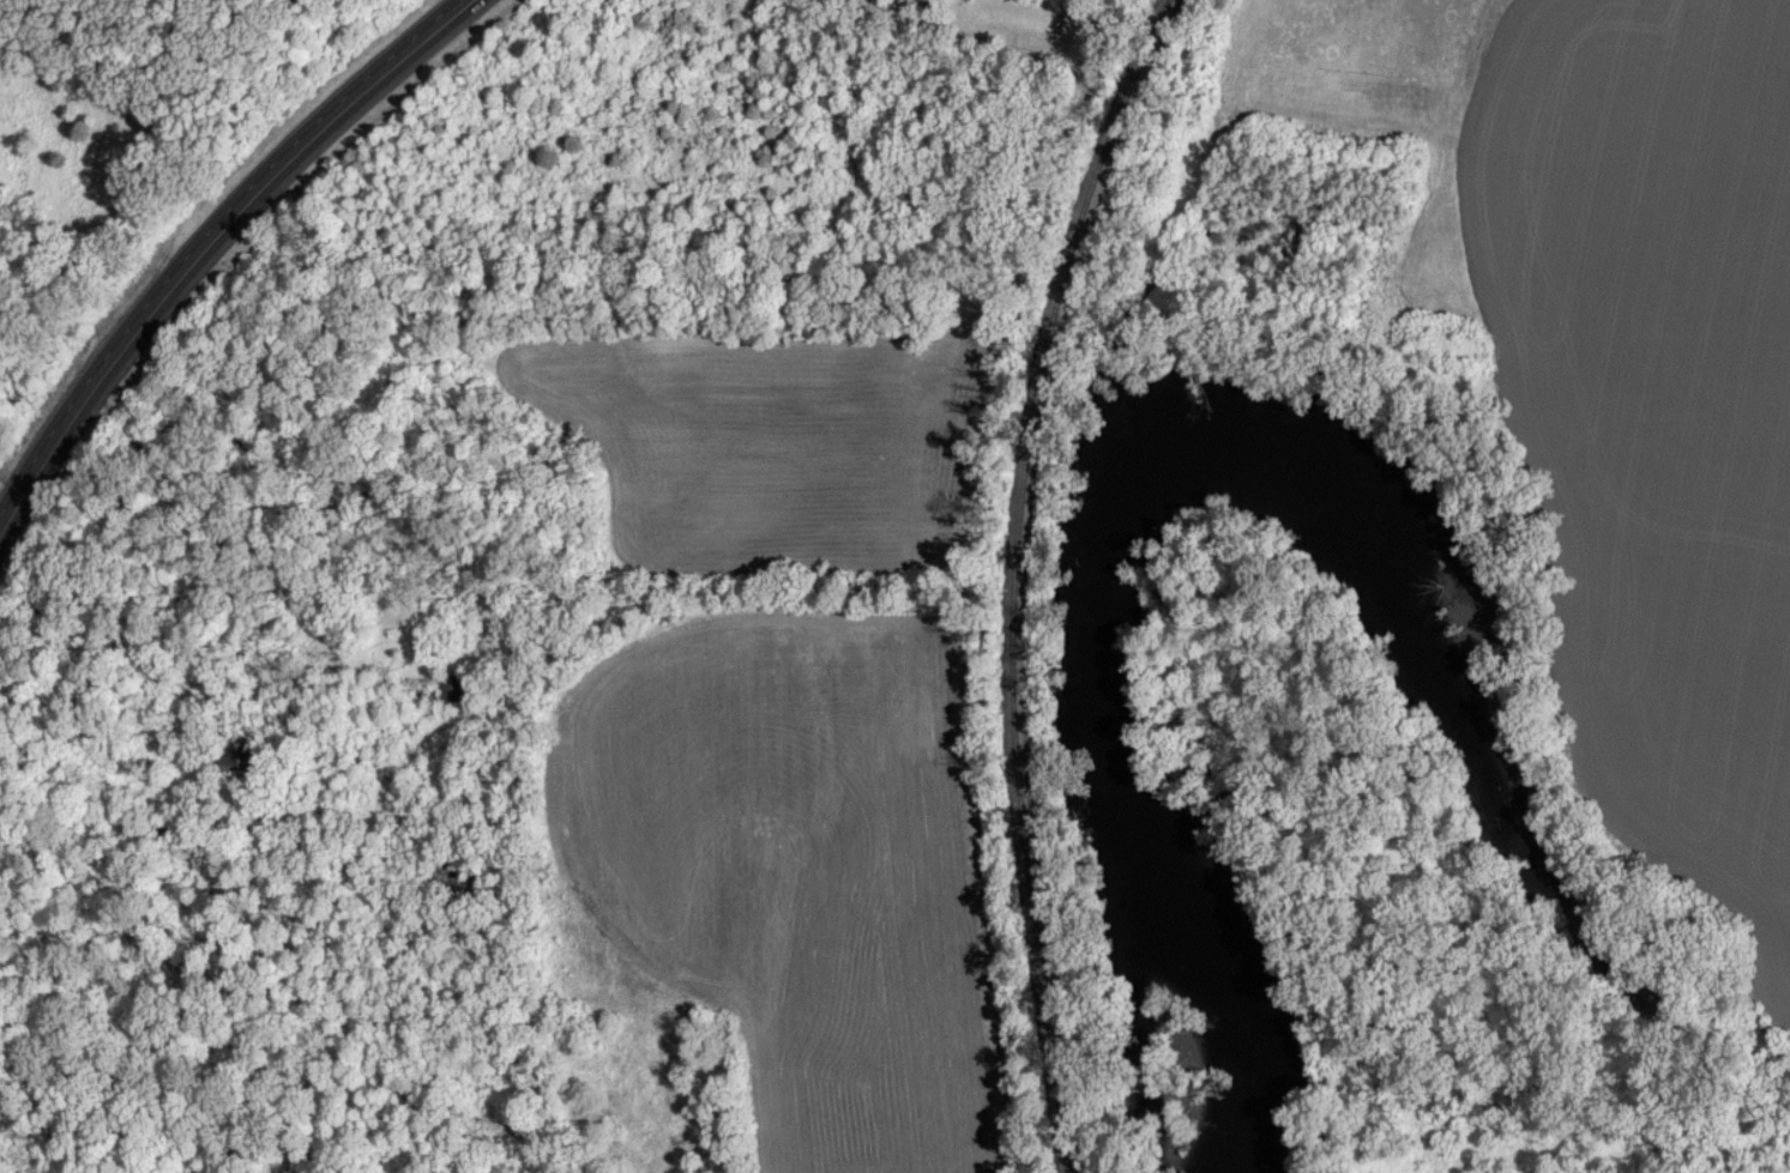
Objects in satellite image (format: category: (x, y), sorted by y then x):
road: (211, 241)
road: (958, 575)
railway: (1008, 575)
building: (235, 760)

